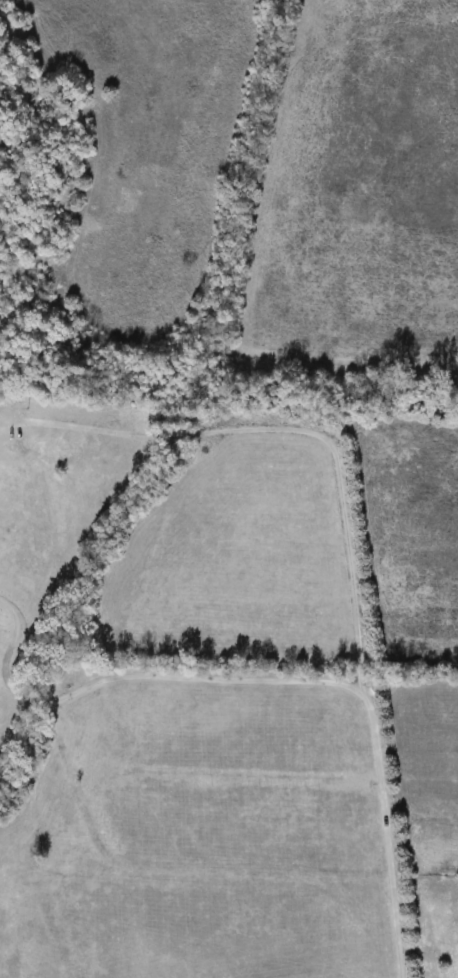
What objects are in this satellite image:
road: (286, 428)
road: (274, 675)

